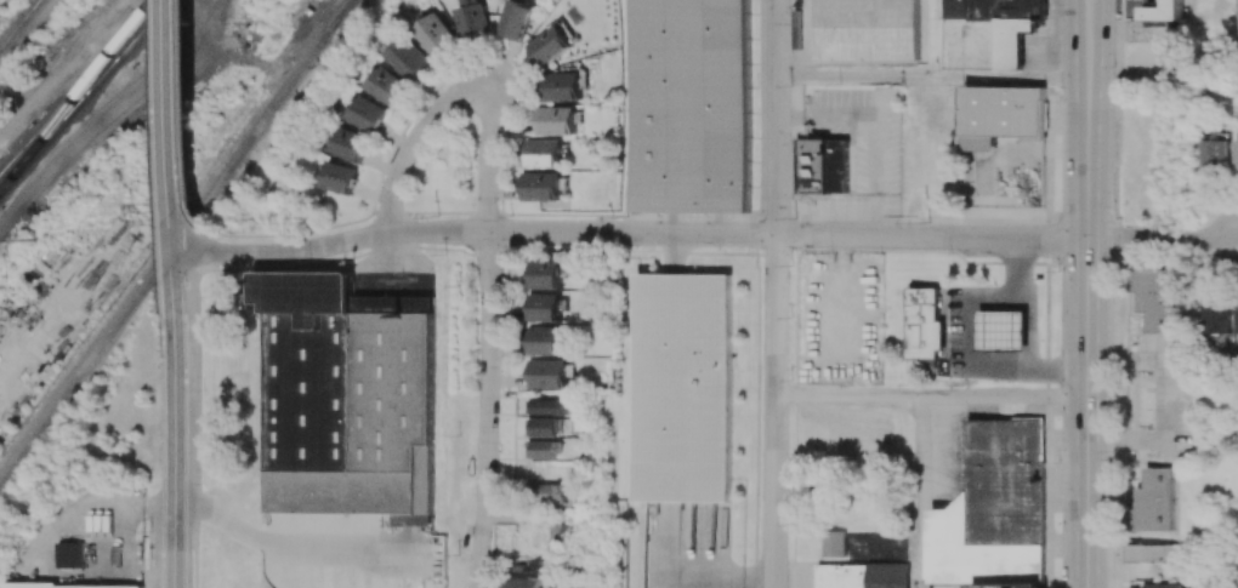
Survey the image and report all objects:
building: (471, 1)
road: (1089, 2)
building: (309, 10)
railway: (339, 16)
railway: (340, 16)
building: (1154, 18)
building: (515, 19)
building: (473, 21)
railway: (21, 23)
street lamp: (790, 23)
road: (220, 28)
building: (865, 29)
building: (989, 32)
road: (27, 33)
building: (438, 36)
railway: (7, 40)
building: (550, 45)
building: (410, 58)
street lamp: (1113, 67)
road: (62, 70)
road: (933, 78)
road: (1163, 79)
road: (151, 81)
building: (388, 85)
building: (561, 86)
railway: (79, 90)
railway: (85, 97)
railway: (74, 102)
street lamp: (1060, 102)
building: (688, 105)
building: (368, 114)
building: (1000, 115)
road: (194, 118)
building: (556, 120)
road: (177, 126)
road: (414, 138)
street lamp: (789, 143)
building: (351, 145)
building: (541, 154)
building: (1236, 156)
building: (1215, 158)
road: (492, 160)
road: (502, 164)
building: (823, 165)
building: (340, 178)
building: (540, 185)
street lamp: (1117, 207)
road: (391, 211)
road: (438, 212)
road: (484, 212)
street lamp: (607, 212)
power tower: (149, 216)
road: (631, 233)
power tower: (36, 239)
road: (1163, 239)
road: (217, 249)
street lamp: (827, 250)
street lamp: (442, 253)
street lamp: (949, 255)
railway: (165, 257)
street lamp: (789, 264)
street lamp: (1056, 264)
building: (544, 274)
street lamp: (995, 285)
road: (199, 291)
road: (1126, 292)
road: (776, 293)
road: (1087, 296)
building: (1152, 297)
building: (544, 308)
street lamp: (1040, 314)
building: (1215, 318)
building: (1236, 320)
building: (926, 324)
road: (1032, 325)
building: (1003, 331)
building: (943, 335)
building: (544, 341)
building: (547, 373)
building: (681, 388)
street lamp: (1112, 392)
road: (848, 395)
road: (1005, 396)
building: (345, 398)
building: (553, 406)
road: (489, 410)
road: (178, 419)
building: (545, 427)
building: (545, 449)
street lamp: (1057, 462)
building: (546, 469)
road: (921, 492)
building: (547, 493)
building: (575, 501)
building: (1151, 502)
road: (151, 504)
building: (994, 510)
building: (558, 533)
road: (280, 535)
street lamp: (1112, 542)
building: (833, 543)
building: (1149, 553)
building: (73, 554)
road: (693, 566)
building: (530, 570)
building: (862, 576)
building: (526, 583)
building: (67, 584)
building: (1159, 586)

